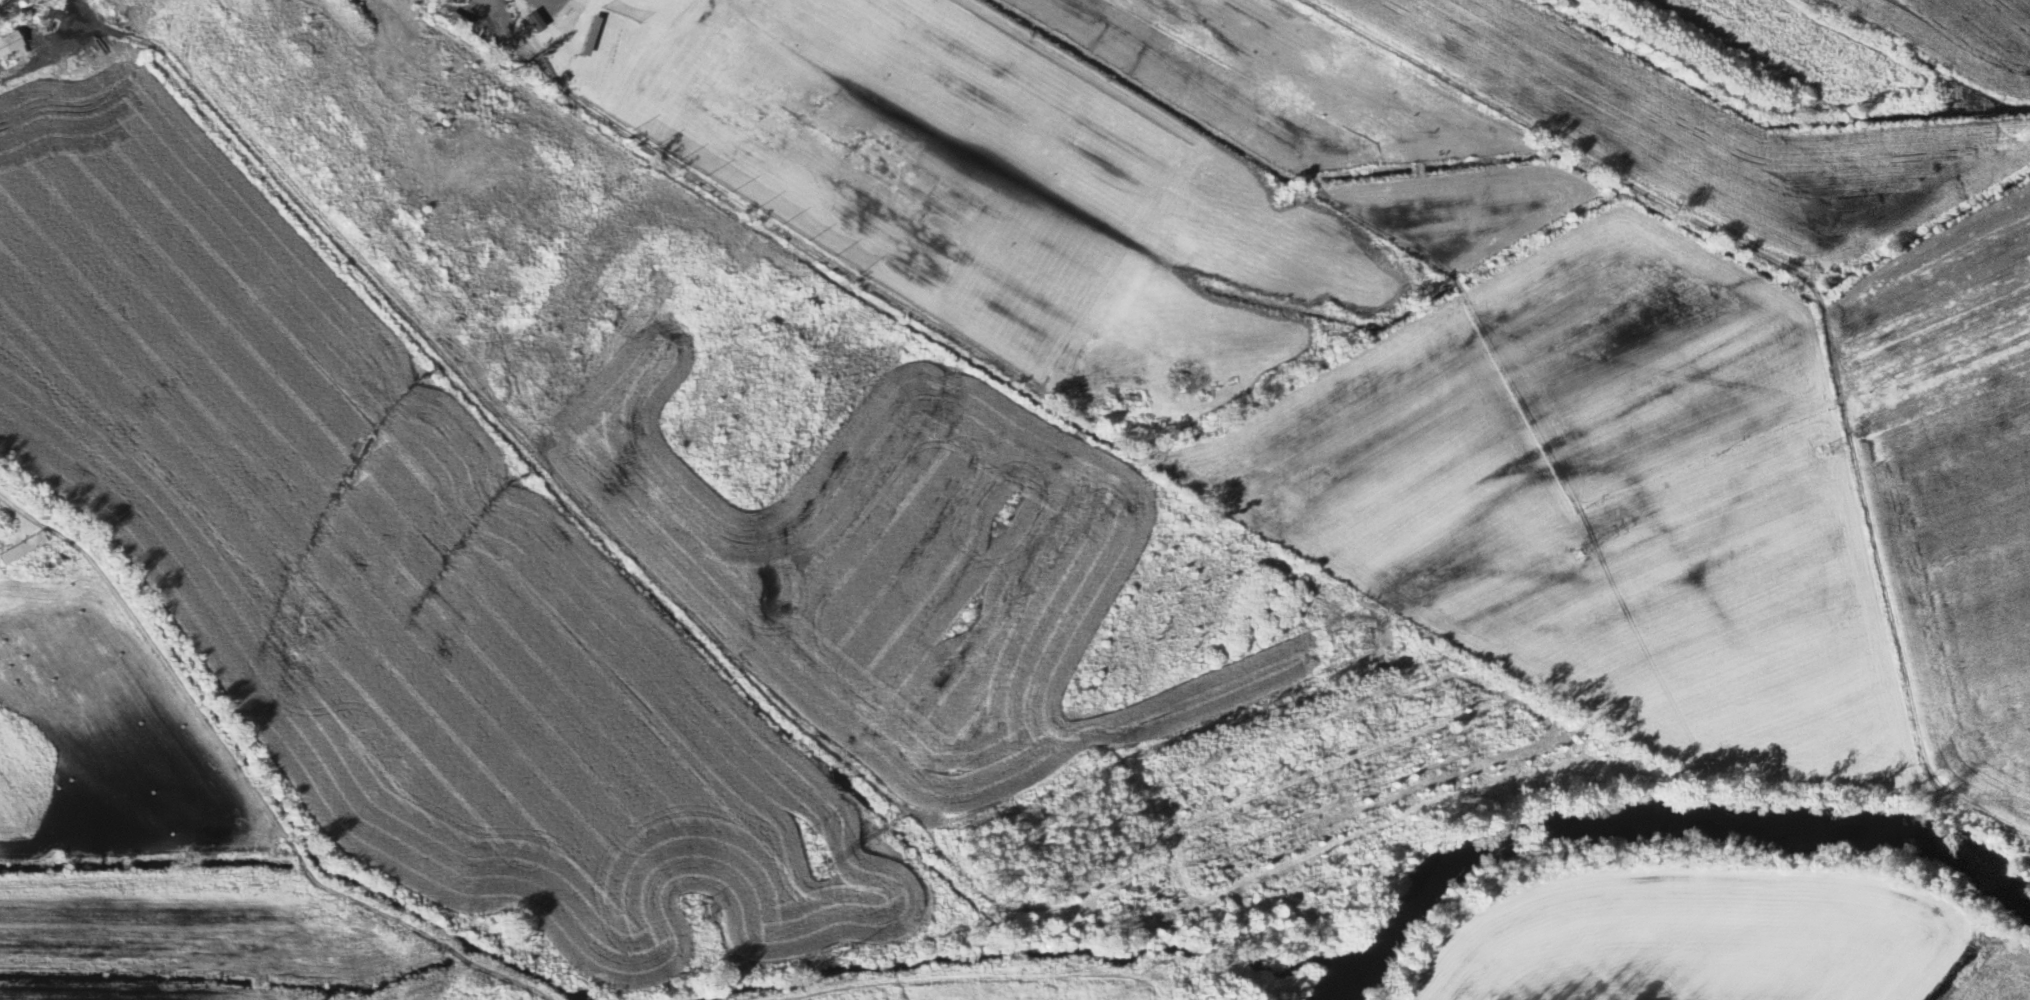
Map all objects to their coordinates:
building: (12, 49)
road: (1626, 182)
power tower: (1828, 451)
building: (25, 550)
power tower: (1582, 551)
power tower: (1334, 653)
power tower: (1089, 756)
river: (1662, 825)
power tower: (808, 870)
river: (1338, 995)

